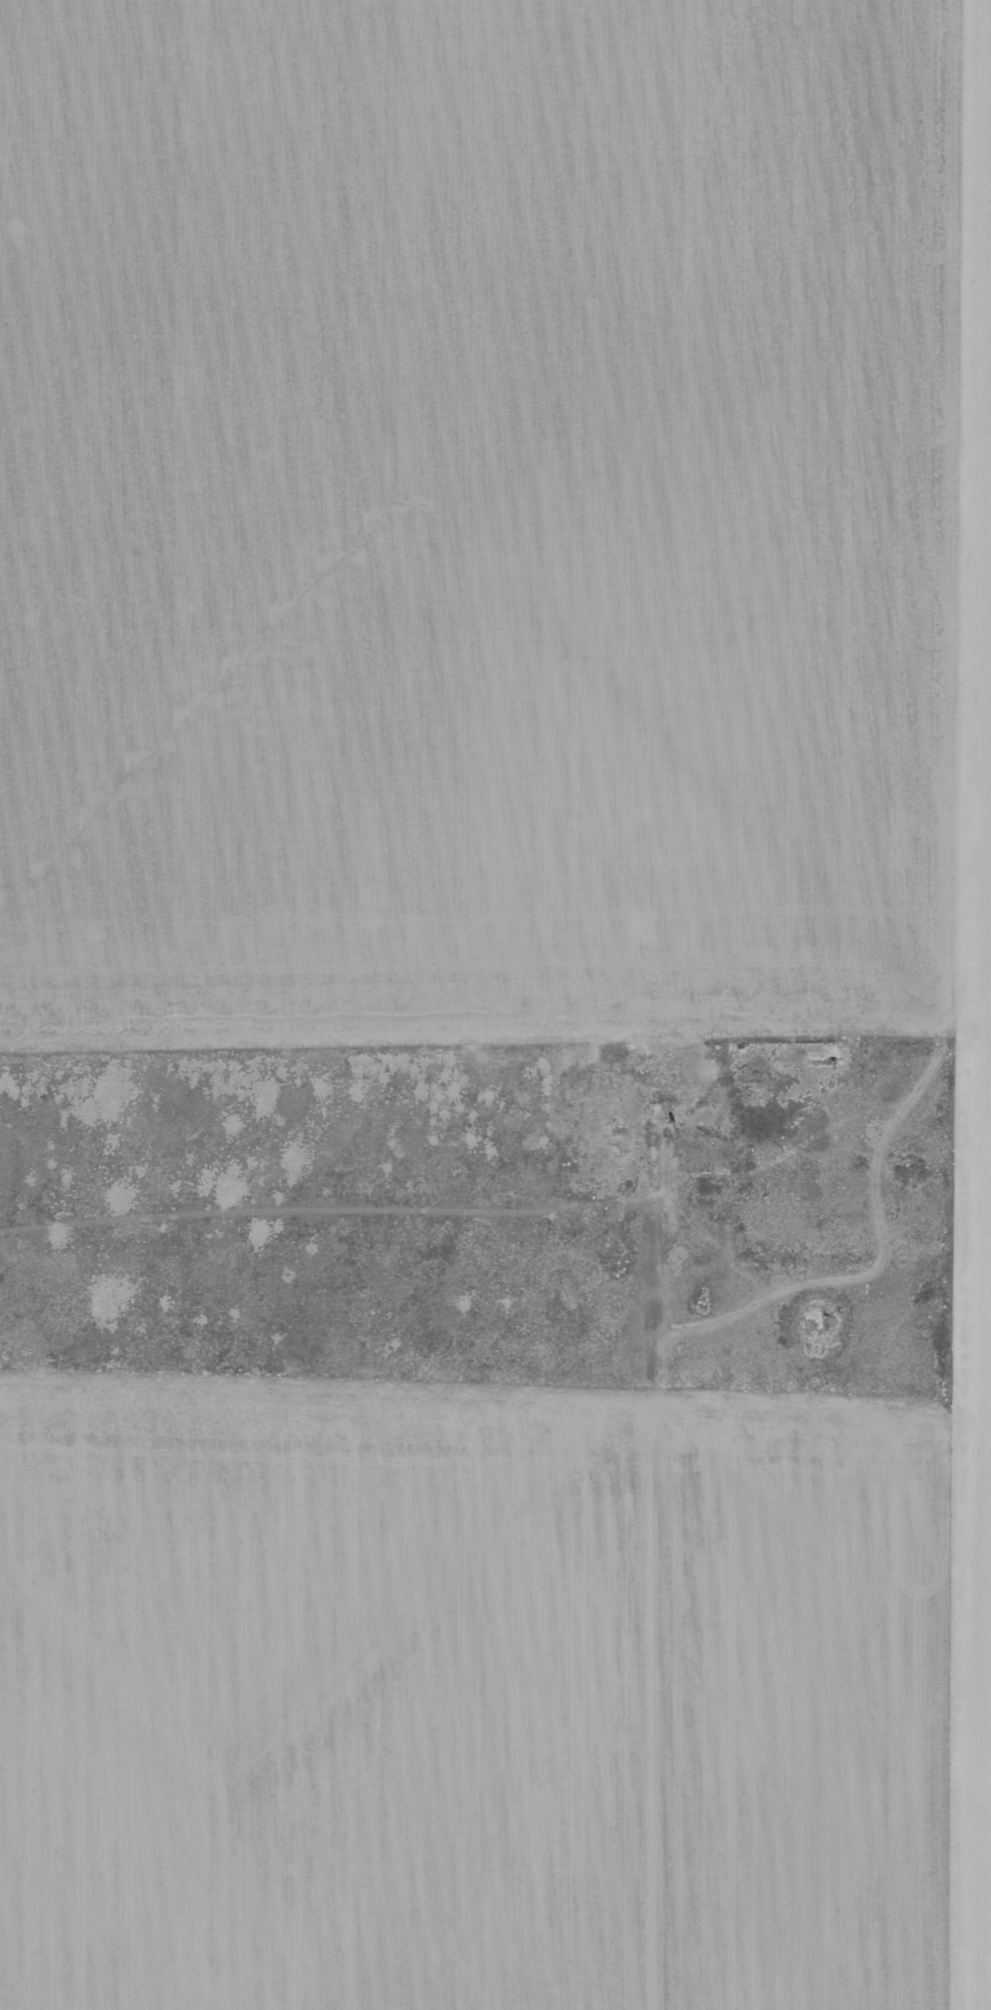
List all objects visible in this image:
road: (593, 1626)

